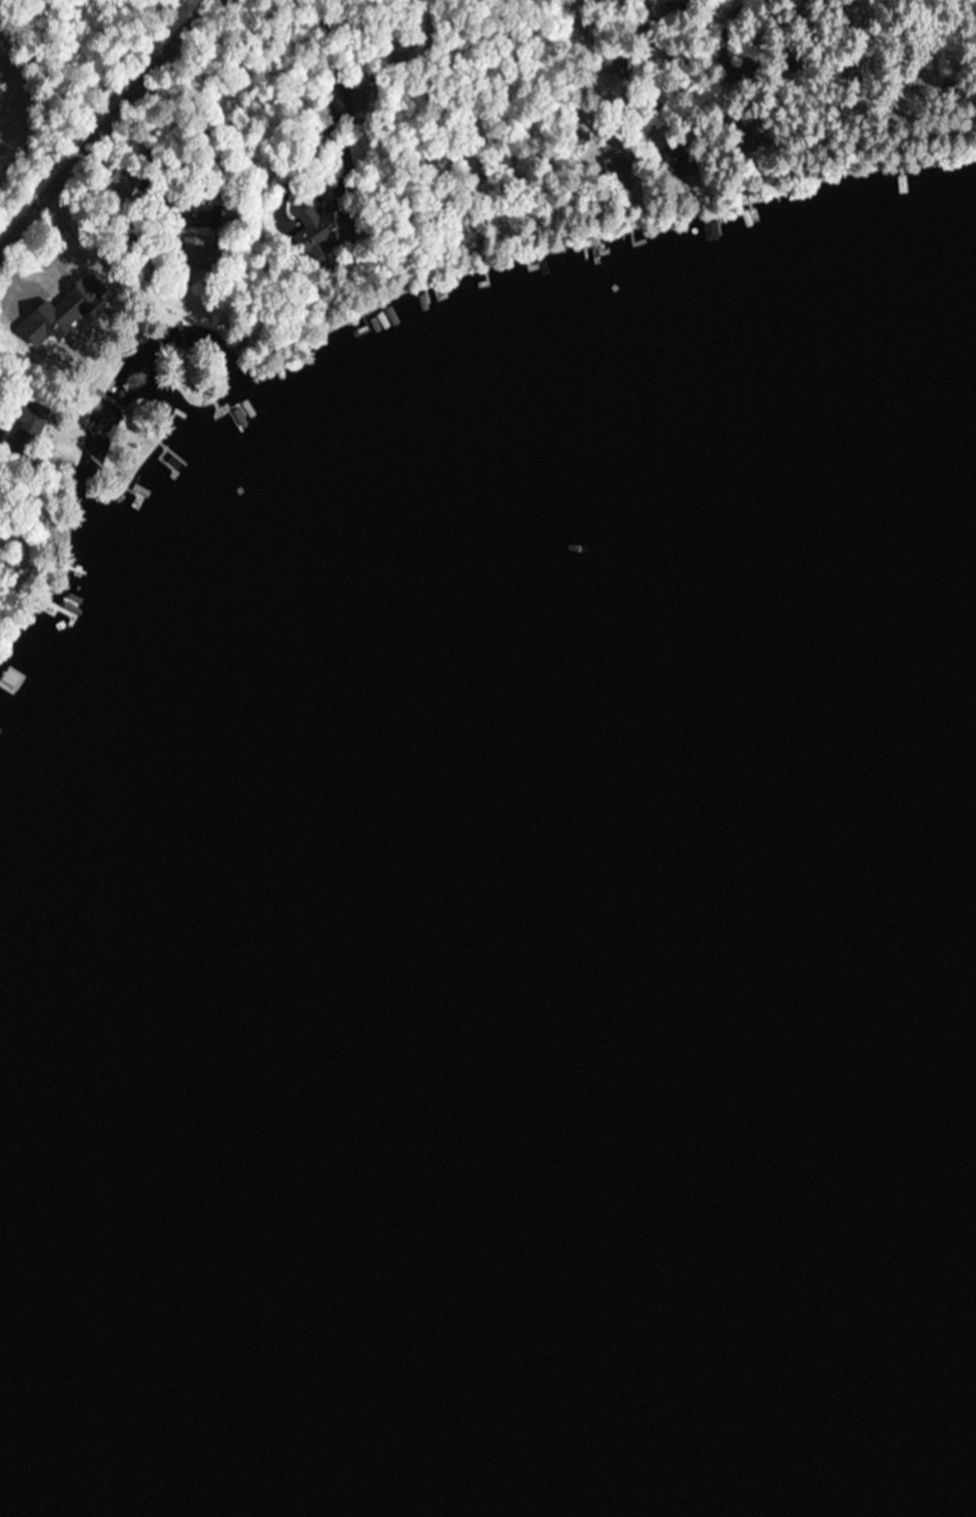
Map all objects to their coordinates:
building: (400, 54)
building: (365, 101)
road: (99, 120)
building: (744, 132)
building: (677, 162)
building: (620, 174)
building: (121, 184)
building: (710, 229)
building: (320, 233)
building: (184, 249)
building: (59, 324)
building: (10, 679)

